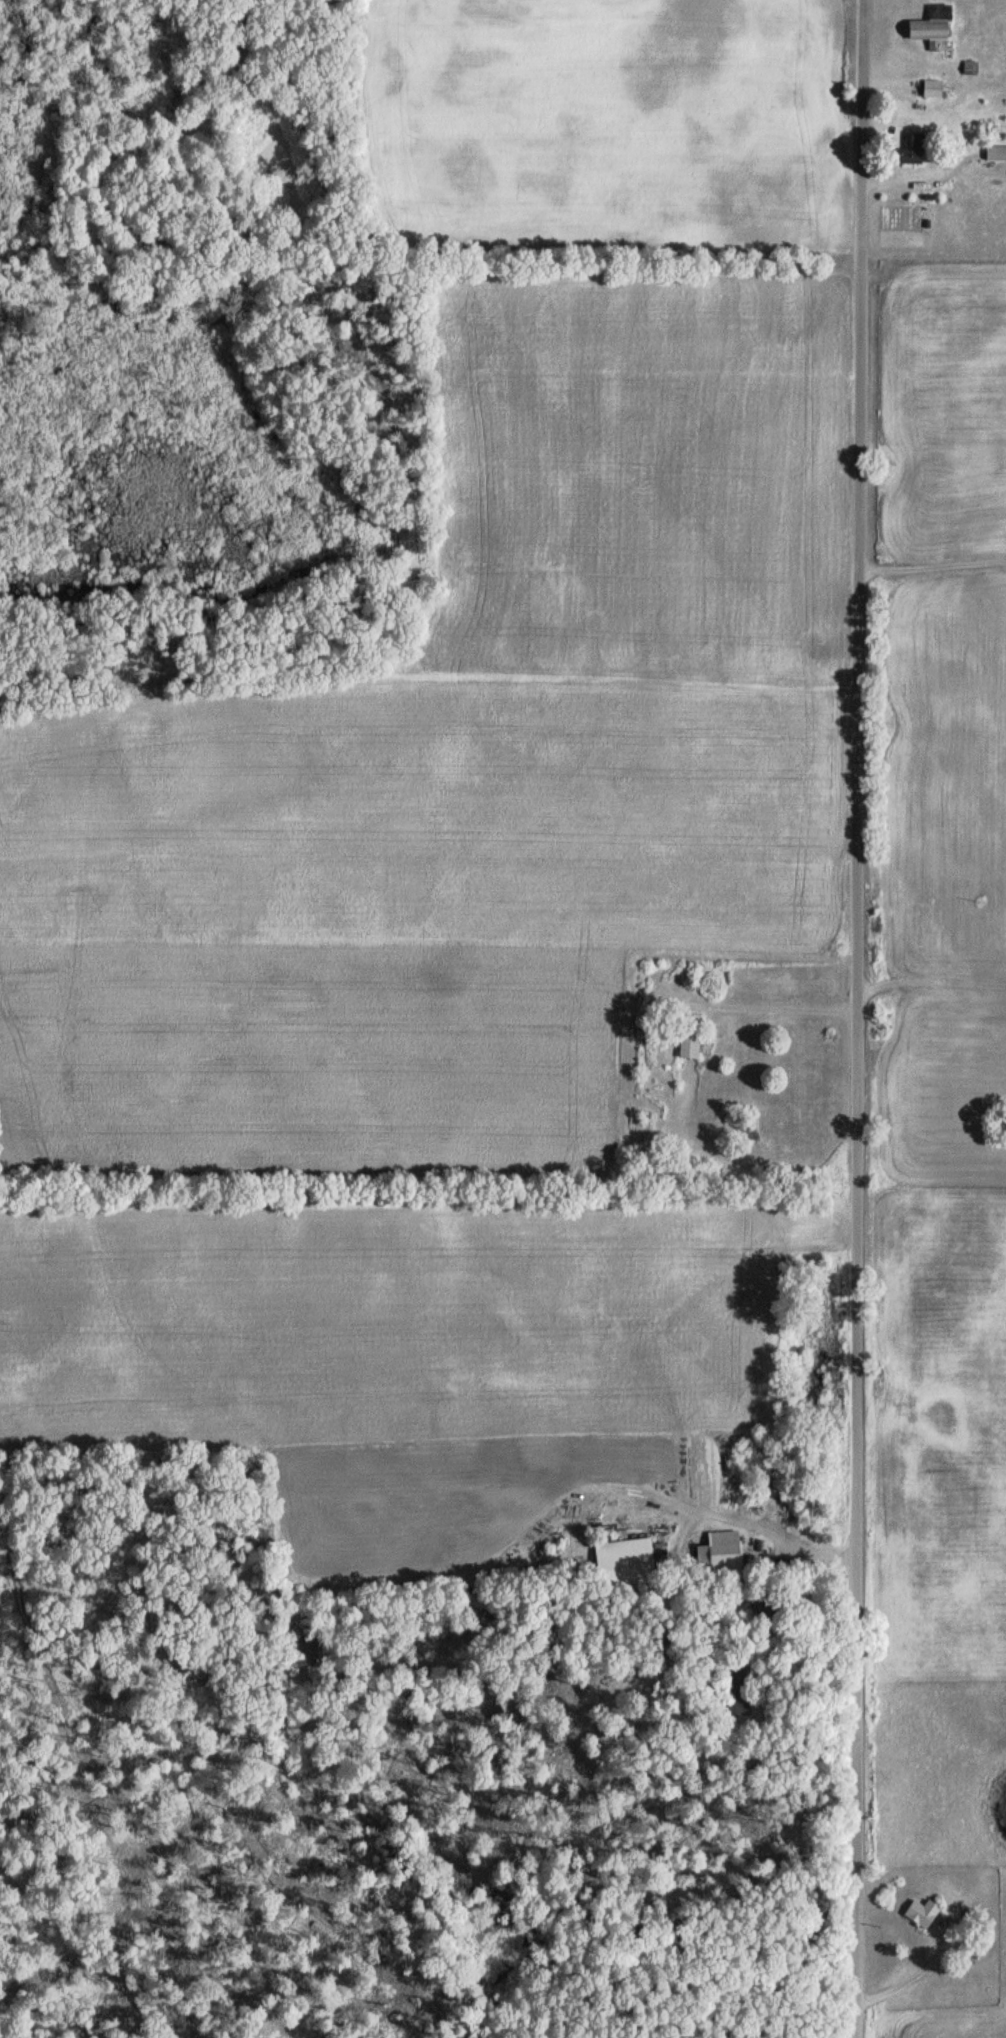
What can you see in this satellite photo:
building: (932, 29)
building: (931, 89)
building: (912, 148)
building: (995, 153)
road: (931, 566)
road: (771, 1008)
road: (855, 1019)
building: (689, 1037)
road: (762, 1528)
building: (719, 1553)
building: (624, 1563)
building: (921, 1913)

